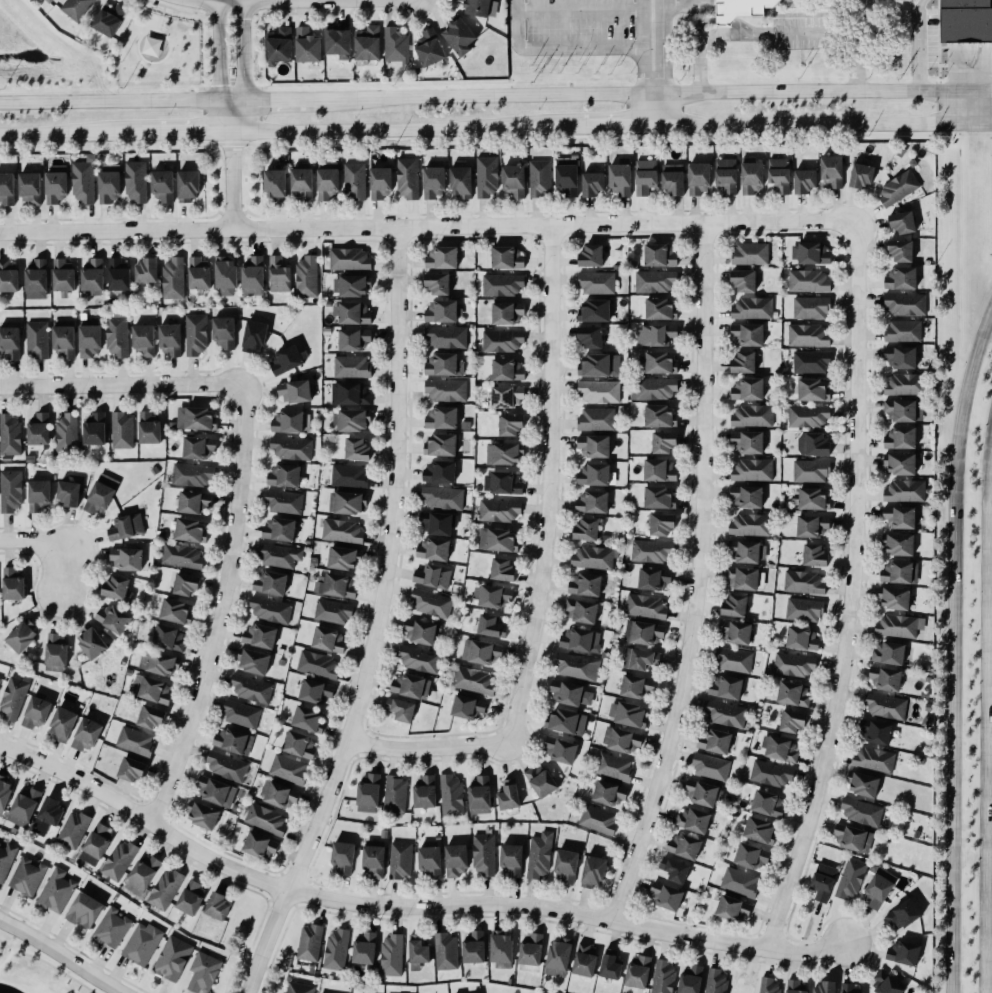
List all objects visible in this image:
road: (220, 0)
road: (332, 0)
building: (50, 1)
road: (225, 1)
building: (481, 7)
building: (77, 8)
building: (741, 9)
building: (962, 19)
building: (109, 21)
road: (724, 22)
road: (643, 24)
road: (749, 28)
road: (697, 29)
road: (838, 35)
building: (460, 36)
road: (731, 36)
building: (338, 43)
building: (368, 43)
road: (243, 45)
building: (152, 46)
building: (279, 46)
building: (308, 46)
building: (397, 46)
building: (430, 48)
road: (557, 48)
road: (663, 48)
park: (158, 51)
road: (219, 68)
road: (646, 72)
road: (700, 73)
road: (824, 94)
road: (503, 100)
road: (296, 106)
road: (109, 108)
road: (230, 108)
road: (969, 109)
road: (240, 112)
road: (656, 112)
road: (496, 130)
building: (832, 171)
building: (727, 175)
building: (780, 175)
building: (752, 176)
building: (861, 176)
building: (488, 177)
building: (646, 177)
building: (541, 178)
building: (409, 179)
building: (621, 179)
building: (674, 179)
building: (700, 179)
building: (567, 180)
building: (356, 181)
building: (514, 181)
building: (806, 181)
building: (83, 182)
building: (136, 182)
road: (231, 182)
building: (434, 182)
building: (461, 182)
building: (302, 183)
building: (381, 183)
building: (328, 184)
building: (593, 184)
building: (56, 185)
building: (109, 185)
building: (275, 185)
building: (163, 186)
building: (189, 186)
building: (30, 188)
building: (900, 188)
building: (7, 189)
building: (903, 223)
road: (424, 226)
building: (902, 251)
building: (811, 253)
building: (751, 254)
building: (661, 255)
building: (591, 256)
building: (442, 258)
building: (508, 258)
building: (350, 260)
building: (147, 271)
building: (199, 274)
building: (64, 275)
building: (93, 275)
building: (118, 275)
building: (279, 275)
building: (226, 276)
building: (8, 277)
building: (254, 277)
building: (308, 277)
building: (902, 278)
building: (174, 279)
building: (37, 280)
building: (744, 281)
building: (810, 281)
building: (656, 282)
building: (598, 283)
building: (437, 284)
building: (503, 285)
building: (352, 286)
building: (906, 304)
building: (812, 308)
building: (661, 309)
building: (754, 309)
building: (596, 311)
building: (443, 312)
building: (509, 313)
building: (353, 314)
building: (904, 331)
building: (225, 333)
building: (197, 334)
building: (657, 335)
building: (748, 335)
building: (810, 336)
building: (118, 337)
building: (255, 337)
building: (590, 337)
building: (447, 338)
building: (39, 340)
building: (144, 340)
building: (170, 340)
building: (354, 340)
building: (64, 341)
building: (90, 341)
building: (503, 341)
building: (10, 343)
building: (902, 357)
building: (287, 360)
building: (812, 362)
building: (661, 363)
building: (744, 363)
building: (445, 365)
building: (601, 365)
building: (352, 367)
building: (507, 370)
building: (904, 385)
road: (122, 389)
building: (655, 389)
building: (748, 389)
building: (447, 390)
building: (814, 390)
building: (295, 392)
building: (601, 392)
building: (351, 395)
building: (507, 397)
building: (905, 411)
building: (753, 416)
building: (661, 417)
building: (810, 417)
building: (197, 419)
building: (442, 419)
building: (598, 420)
building: (354, 421)
building: (289, 422)
building: (511, 425)
building: (149, 429)
building: (39, 430)
building: (95, 430)
building: (123, 431)
building: (67, 433)
building: (11, 435)
building: (901, 439)
building: (664, 443)
building: (748, 443)
building: (441, 445)
building: (814, 445)
building: (595, 447)
building: (199, 448)
building: (292, 449)
building: (357, 450)
building: (507, 454)
building: (901, 464)
building: (660, 471)
building: (754, 471)
building: (812, 472)
building: (440, 473)
building: (193, 476)
building: (284, 476)
building: (350, 476)
building: (597, 476)
building: (507, 484)
building: (11, 491)
building: (906, 492)
building: (68, 494)
building: (101, 495)
building: (39, 496)
building: (748, 497)
building: (443, 498)
building: (660, 498)
building: (814, 500)
building: (195, 503)
building: (285, 503)
building: (348, 503)
building: (592, 503)
building: (501, 511)
building: (901, 518)
building: (438, 524)
building: (751, 525)
building: (662, 526)
building: (127, 527)
building: (812, 527)
building: (280, 530)
building: (586, 530)
building: (191, 531)
building: (343, 532)
building: (497, 540)
road: (58, 544)
building: (899, 545)
building: (434, 550)
building: (653, 552)
building: (748, 552)
building: (280, 556)
building: (815, 556)
building: (182, 557)
building: (594, 558)
building: (343, 559)
building: (127, 560)
road: (543, 562)
building: (502, 570)
building: (901, 573)
building: (433, 577)
road: (697, 579)
building: (746, 579)
building: (655, 580)
building: (804, 583)
building: (13, 584)
building: (270, 584)
building: (186, 585)
building: (586, 585)
building: (336, 586)
building: (118, 589)
road: (849, 594)
building: (493, 597)
building: (895, 599)
building: (432, 604)
building: (646, 607)
building: (734, 607)
road: (222, 610)
building: (805, 610)
building: (174, 611)
building: (271, 611)
building: (582, 611)
building: (334, 612)
building: (113, 620)
road: (380, 621)
building: (491, 627)
building: (900, 627)
building: (420, 632)
building: (735, 633)
building: (645, 634)
building: (21, 637)
building: (260, 637)
building: (169, 638)
building: (803, 639)
building: (328, 640)
building: (581, 640)
building: (91, 643)
road: (952, 648)
building: (56, 652)
building: (482, 653)
building: (890, 654)
building: (639, 659)
building: (420, 660)
building: (734, 660)
building: (254, 663)
building: (160, 664)
building: (319, 665)
building: (796, 665)
building: (578, 667)
building: (886, 679)
building: (0, 680)
building: (476, 681)
building: (411, 687)
building: (637, 687)
building: (726, 688)
building: (153, 690)
building: (252, 690)
building: (316, 693)
building: (571, 694)
building: (794, 695)
building: (14, 699)
building: (886, 707)
building: (468, 708)
building: (401, 710)
building: (36, 714)
building: (242, 715)
building: (628, 715)
building: (725, 715)
road: (986, 716)
building: (151, 718)
building: (308, 720)
building: (568, 723)
building: (792, 723)
building: (62, 725)
building: (876, 733)
building: (86, 736)
building: (623, 741)
building: (136, 742)
building: (233, 742)
building: (716, 742)
building: (300, 746)
building: (781, 750)
building: (561, 751)
building: (875, 761)
building: (228, 767)
building: (615, 768)
building: (712, 768)
building: (132, 770)
building: (289, 770)
building: (773, 774)
building: (542, 781)
building: (864, 787)
building: (5, 792)
building: (217, 793)
building: (425, 793)
building: (369, 794)
building: (703, 794)
building: (480, 795)
building: (609, 795)
building: (281, 796)
building: (396, 796)
building: (452, 796)
building: (509, 799)
building: (769, 805)
building: (24, 807)
building: (862, 813)
building: (48, 816)
building: (204, 817)
building: (266, 820)
building: (599, 821)
building: (694, 821)
building: (74, 830)
building: (760, 831)
building: (853, 839)
building: (99, 841)
building: (260, 846)
building: (685, 847)
building: (485, 854)
building: (541, 856)
building: (752, 857)
building: (343, 859)
building: (512, 859)
building: (374, 860)
building: (402, 860)
building: (457, 860)
building: (7, 861)
building: (430, 861)
building: (120, 862)
building: (566, 866)
building: (594, 870)
building: (675, 870)
building: (143, 875)
building: (28, 876)
building: (852, 879)
building: (824, 881)
building: (741, 883)
building: (878, 888)
building: (166, 889)
building: (58, 891)
building: (191, 896)
building: (667, 896)
building: (217, 906)
road: (408, 907)
building: (734, 908)
building: (84, 910)
building: (904, 914)
building: (113, 928)
building: (311, 942)
building: (143, 943)
building: (474, 947)
building: (501, 947)
building: (364, 948)
building: (337, 949)
building: (531, 949)
building: (447, 952)
building: (419, 953)
building: (904, 953)
road: (63, 955)
building: (392, 955)
building: (558, 957)
building: (173, 958)
building: (585, 959)
building: (611, 965)
building: (205, 972)
building: (638, 972)
building: (664, 976)
building: (692, 979)
building: (716, 981)
building: (745, 984)
building: (886, 984)
building: (771, 986)
building: (795, 986)
building: (826, 987)
building: (849, 987)
building: (300, 988)

